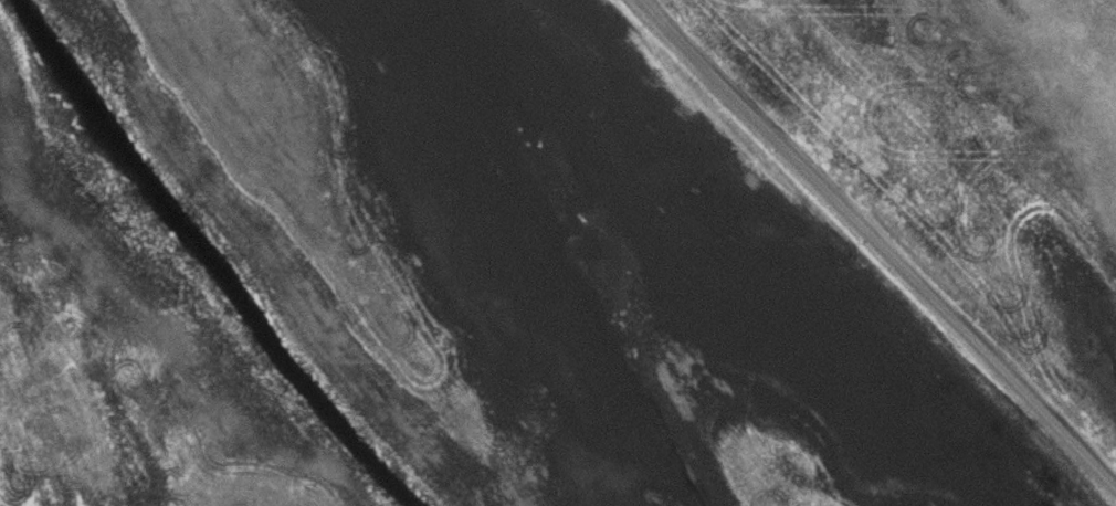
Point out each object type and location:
road: (875, 244)

